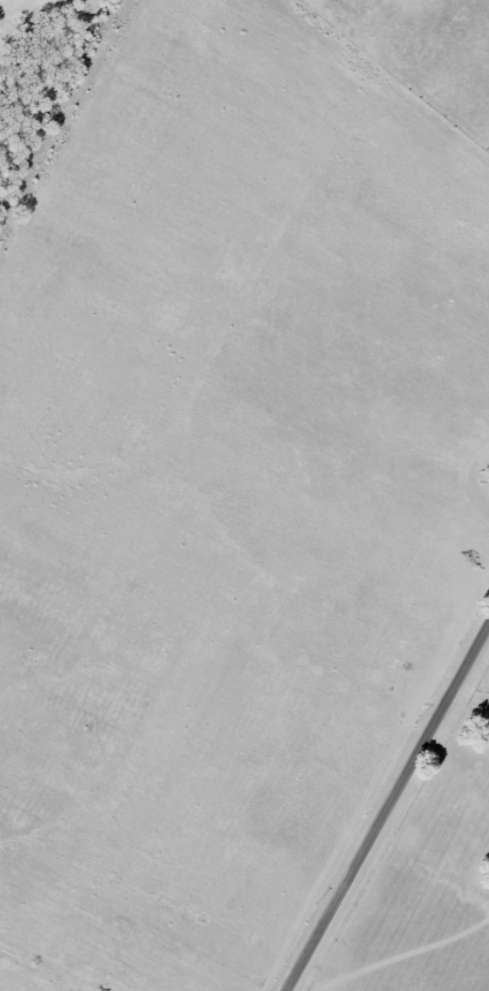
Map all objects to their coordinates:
road: (389, 812)

